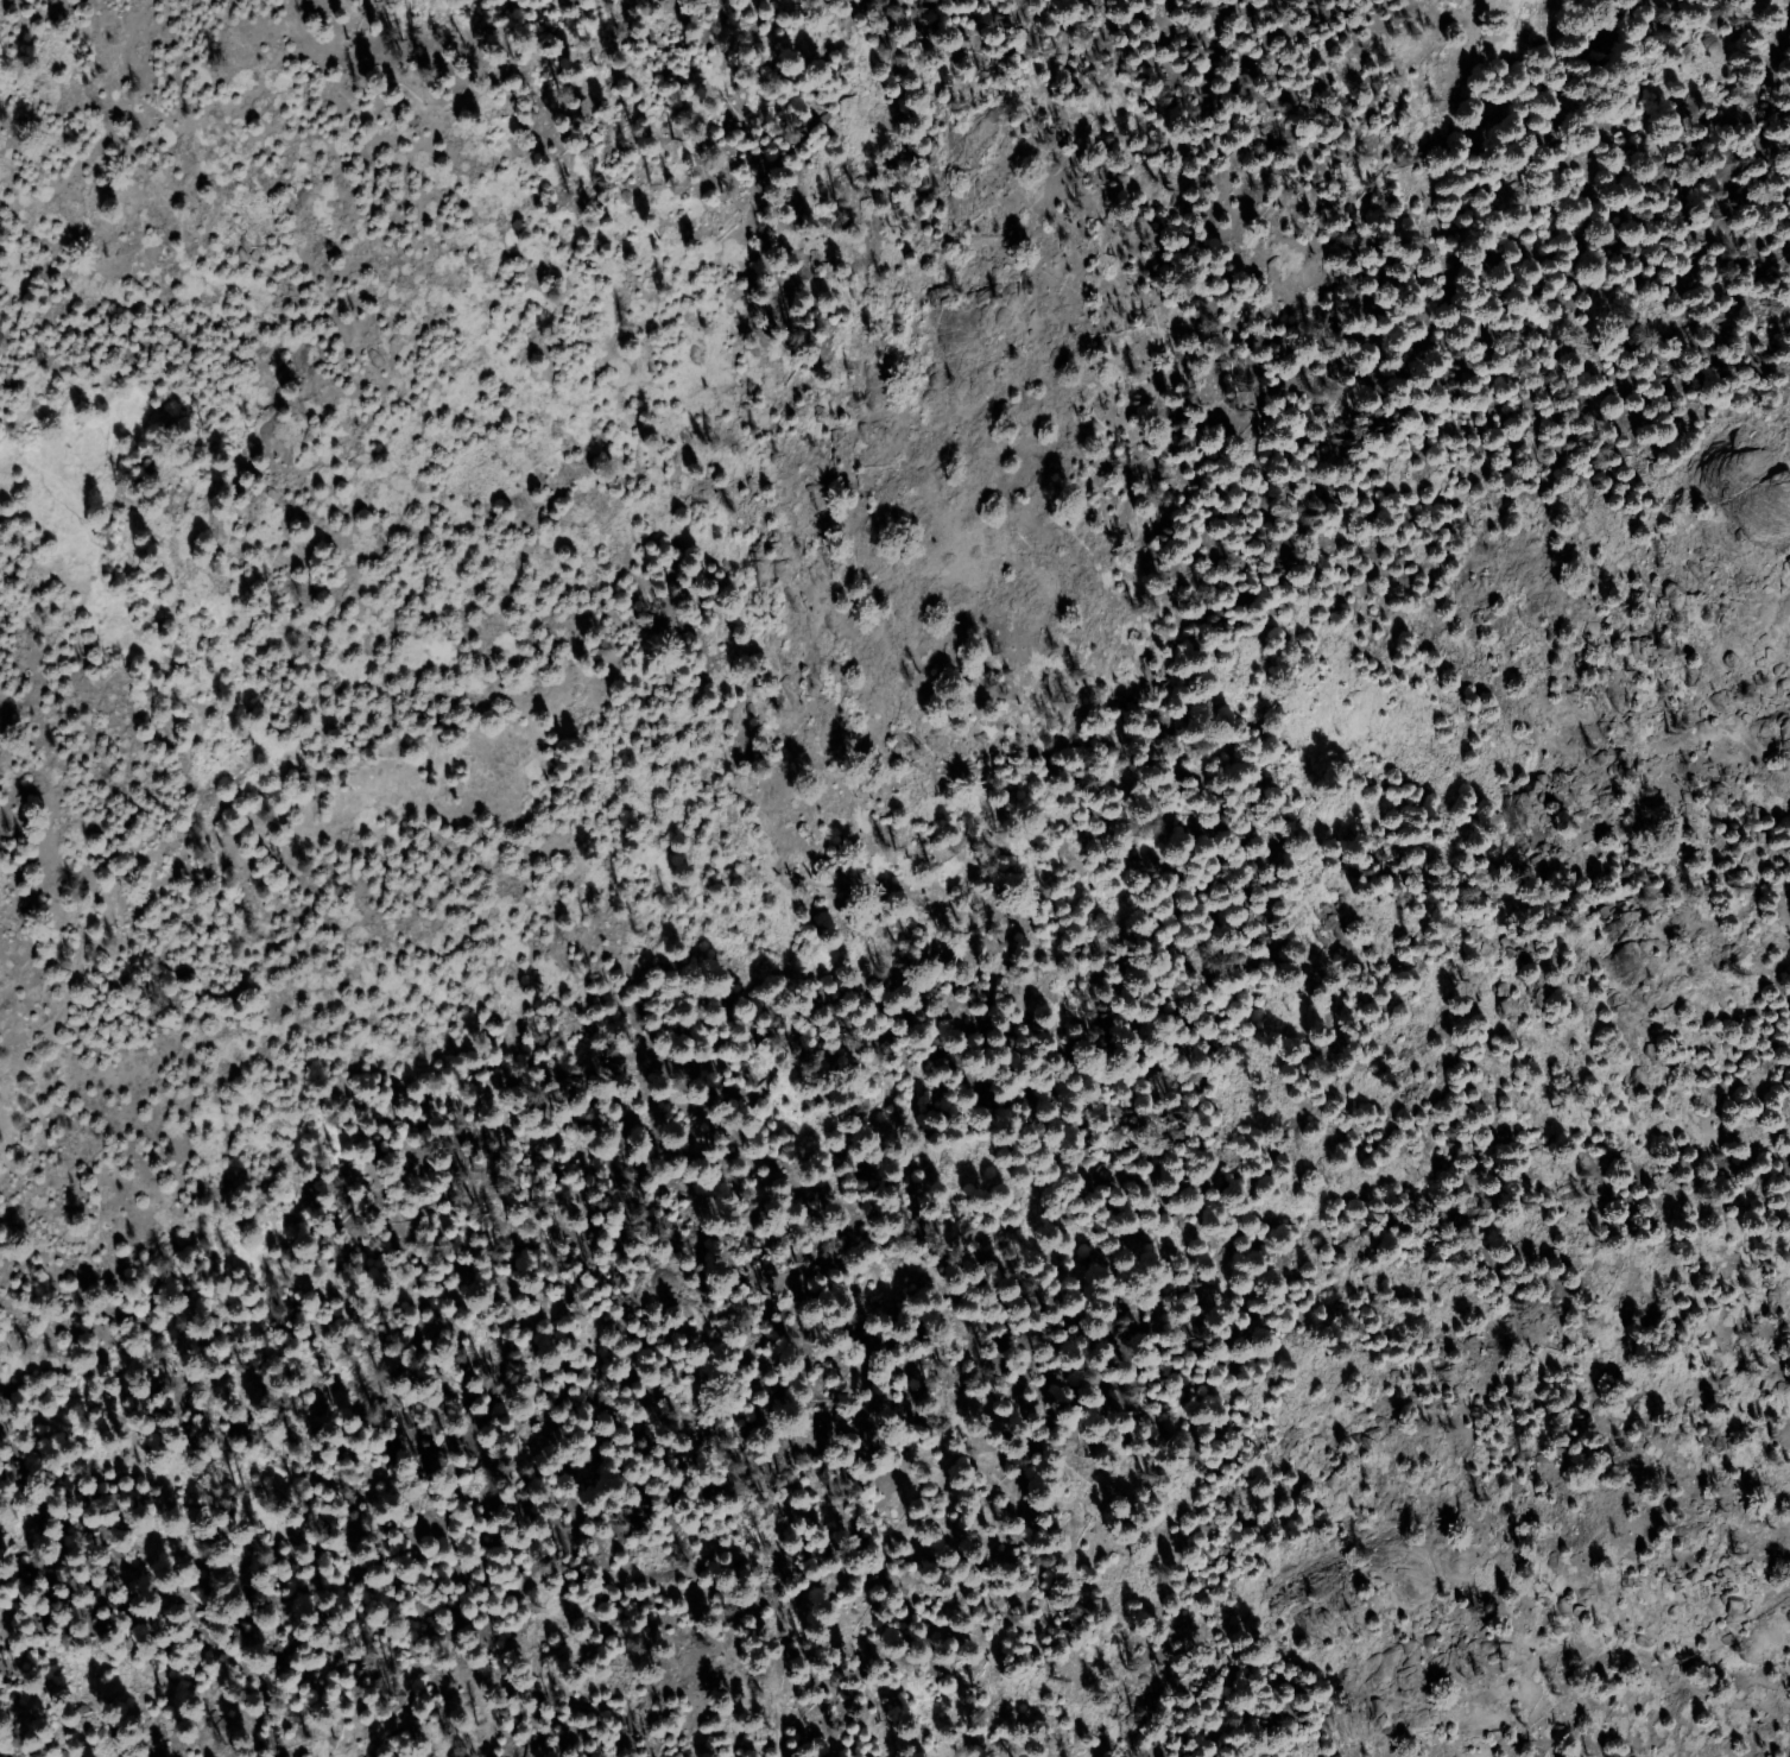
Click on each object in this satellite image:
building: (1735, 129)

